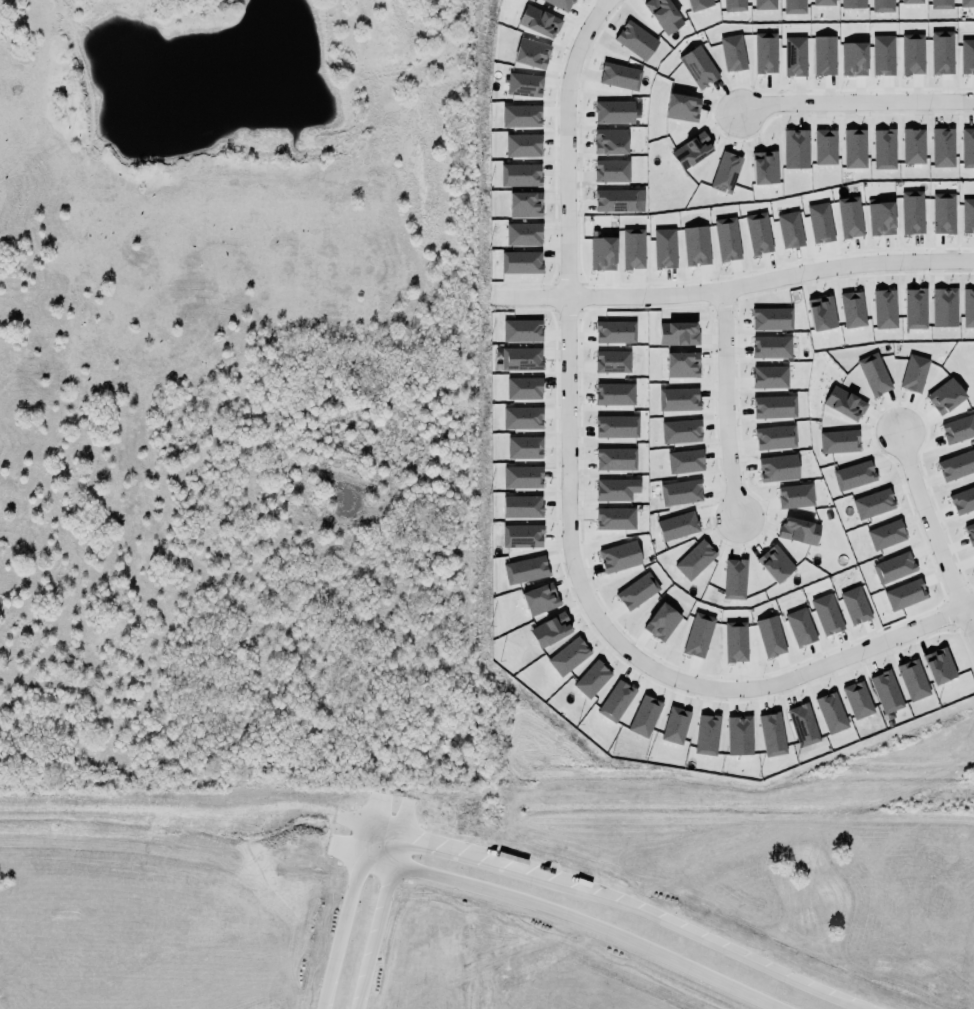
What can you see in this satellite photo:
building: (912, 1)
building: (823, 2)
building: (562, 3)
building: (967, 3)
building: (699, 4)
building: (853, 4)
building: (941, 4)
building: (734, 5)
building: (765, 5)
building: (794, 6)
building: (882, 6)
building: (664, 14)
building: (539, 20)
building: (637, 39)
building: (531, 50)
building: (731, 51)
building: (940, 51)
building: (765, 53)
building: (912, 54)
building: (883, 55)
building: (824, 56)
building: (967, 56)
building: (795, 57)
building: (854, 59)
building: (697, 65)
building: (621, 75)
building: (525, 83)
road: (854, 104)
building: (682, 108)
building: (614, 110)
building: (521, 116)
building: (610, 141)
building: (522, 145)
building: (941, 145)
building: (853, 146)
building: (914, 146)
building: (825, 147)
building: (967, 148)
building: (796, 149)
building: (884, 149)
building: (691, 151)
building: (764, 168)
building: (611, 171)
building: (726, 172)
building: (521, 175)
building: (616, 200)
building: (525, 204)
building: (916, 211)
building: (948, 211)
building: (968, 216)
building: (852, 217)
building: (879, 217)
building: (820, 223)
building: (789, 228)
building: (758, 233)
building: (523, 234)
building: (727, 239)
building: (696, 245)
building: (663, 246)
building: (633, 249)
building: (602, 253)
building: (519, 261)
road: (733, 287)
building: (888, 306)
building: (919, 306)
building: (951, 307)
building: (855, 308)
building: (968, 308)
building: (822, 313)
building: (772, 319)
building: (524, 329)
building: (678, 330)
building: (619, 331)
building: (771, 347)
building: (524, 356)
building: (615, 359)
building: (682, 365)
building: (914, 373)
building: (874, 375)
building: (770, 377)
building: (528, 385)
building: (617, 391)
building: (945, 396)
building: (678, 399)
building: (844, 403)
road: (719, 405)
building: (774, 407)
building: (523, 417)
building: (618, 424)
building: (958, 427)
building: (681, 431)
building: (778, 435)
building: (839, 441)
building: (525, 445)
building: (616, 459)
building: (684, 460)
building: (957, 465)
building: (780, 467)
building: (858, 473)
building: (522, 477)
building: (616, 489)
building: (684, 490)
building: (798, 494)
building: (963, 500)
building: (877, 503)
building: (522, 506)
building: (615, 518)
road: (561, 520)
building: (683, 523)
building: (801, 528)
building: (970, 533)
building: (886, 535)
building: (522, 536)
road: (931, 540)
building: (619, 557)
building: (776, 559)
building: (698, 560)
building: (893, 567)
building: (525, 570)
building: (738, 576)
building: (637, 591)
building: (905, 595)
building: (540, 599)
building: (855, 605)
building: (825, 613)
building: (662, 622)
building: (800, 627)
building: (550, 630)
building: (698, 635)
building: (770, 636)
building: (736, 642)
building: (568, 656)
building: (939, 666)
building: (592, 679)
building: (913, 680)
building: (886, 692)
building: (615, 699)
building: (856, 699)
building: (829, 711)
building: (644, 714)
building: (675, 725)
building: (803, 725)
building: (705, 733)
building: (772, 734)
building: (739, 735)
road: (375, 810)
road: (403, 818)
road: (353, 822)
road: (384, 832)
road: (347, 847)
road: (636, 913)
road: (344, 917)
road: (573, 920)
road: (376, 922)

